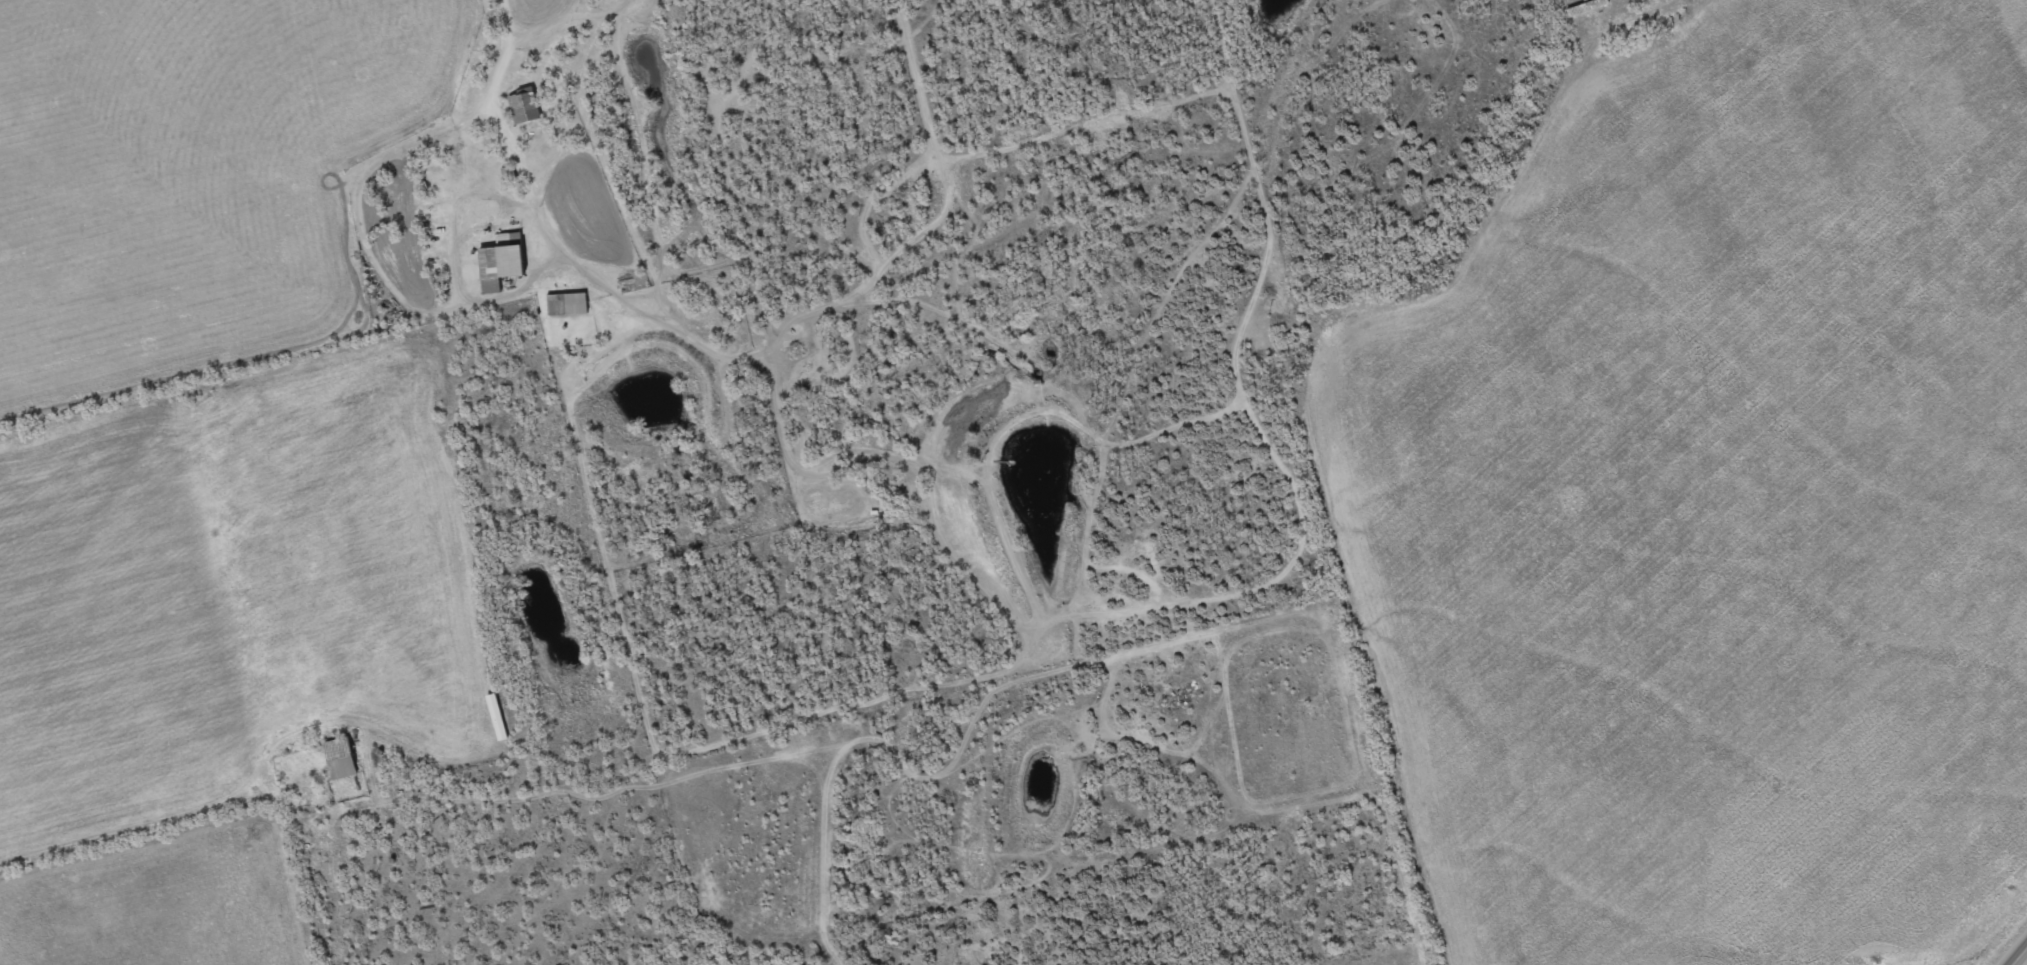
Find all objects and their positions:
road: (506, 53)
building: (523, 107)
building: (501, 261)
building: (567, 303)
building: (340, 757)
road: (130, 826)
road: (2016, 952)

